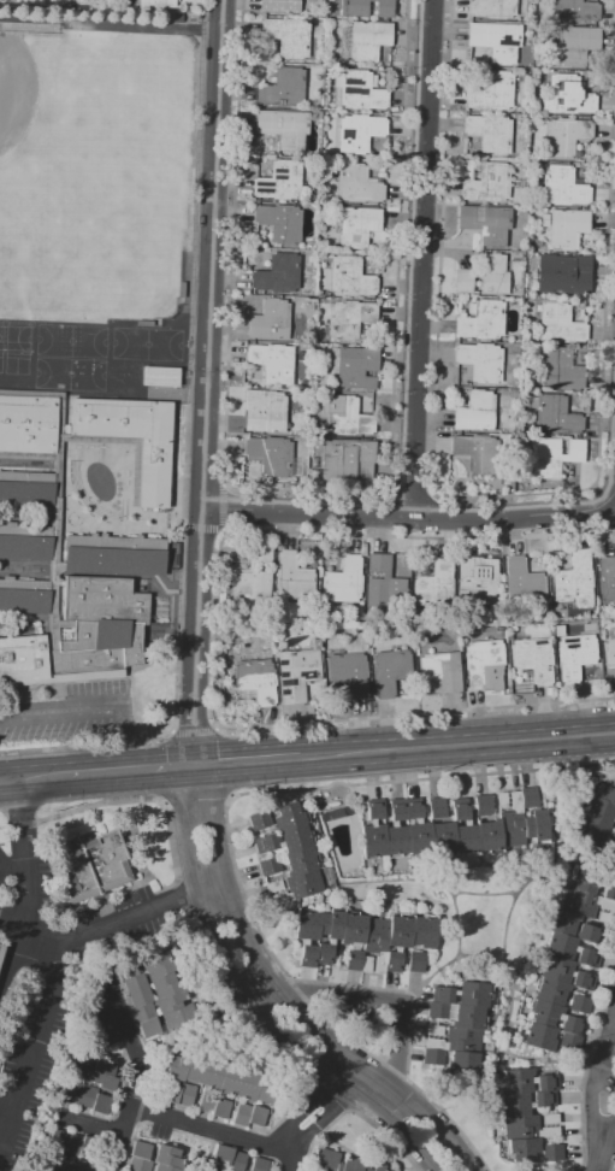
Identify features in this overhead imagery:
building: (159, 5)
building: (278, 6)
building: (366, 7)
building: (491, 8)
building: (574, 11)
building: (179, 19)
building: (286, 36)
building: (496, 40)
building: (367, 41)
building: (576, 46)
building: (282, 88)
building: (360, 92)
building: (491, 92)
building: (566, 96)
building: (283, 128)
building: (357, 133)
building: (490, 133)
building: (564, 136)
building: (329, 145)
park: (93, 173)
building: (278, 182)
building: (485, 182)
building: (357, 184)
building: (562, 187)
building: (279, 223)
building: (486, 223)
building: (357, 226)
building: (567, 228)
road: (420, 258)
building: (563, 273)
building: (277, 275)
building: (483, 276)
building: (350, 277)
building: (184, 292)
building: (348, 318)
building: (270, 320)
building: (481, 320)
building: (558, 324)
building: (148, 325)
building: (480, 361)
building: (272, 363)
building: (356, 367)
building: (561, 370)
building: (164, 379)
road: (200, 382)
building: (264, 411)
building: (474, 412)
building: (552, 414)
building: (347, 417)
building: (477, 453)
building: (270, 455)
building: (554, 455)
building: (344, 459)
road: (404, 516)
building: (78, 537)
building: (250, 576)
building: (292, 577)
building: (475, 578)
building: (573, 578)
building: (607, 578)
building: (522, 579)
building: (343, 581)
building: (383, 583)
building: (434, 585)
building: (609, 652)
building: (574, 655)
building: (532, 658)
building: (481, 661)
building: (389, 671)
building: (297, 672)
building: (348, 673)
building: (439, 673)
building: (255, 679)
road: (60, 712)
road: (382, 718)
road: (195, 731)
road: (123, 739)
road: (455, 745)
road: (87, 746)
road: (244, 761)
road: (132, 771)
road: (35, 778)
road: (196, 795)
building: (483, 805)
building: (472, 806)
building: (448, 807)
building: (437, 808)
building: (335, 813)
building: (597, 816)
building: (260, 820)
building: (614, 824)
building: (453, 828)
building: (264, 831)
road: (230, 838)
building: (613, 841)
building: (266, 842)
building: (267, 854)
building: (295, 857)
building: (268, 866)
road: (13, 867)
building: (93, 867)
road: (132, 918)
road: (14, 925)
building: (365, 940)
building: (0, 942)
road: (202, 945)
building: (1, 951)
building: (567, 964)
road: (49, 969)
building: (167, 990)
building: (138, 998)
road: (286, 998)
road: (385, 1000)
road: (253, 1001)
building: (457, 1028)
road: (196, 1032)
road: (586, 1069)
building: (95, 1070)
building: (220, 1076)
road: (138, 1079)
road: (593, 1088)
building: (178, 1094)
building: (87, 1098)
building: (214, 1105)
building: (526, 1112)
road: (318, 1114)
building: (249, 1116)
road: (94, 1125)
road: (207, 1130)
building: (551, 1141)
building: (72, 1143)
road: (607, 1143)
building: (552, 1152)
building: (140, 1157)
building: (230, 1158)
building: (167, 1159)
building: (326, 1159)
building: (64, 1164)
building: (259, 1164)
road: (598, 1169)
building: (208, 1170)
building: (213, 1170)

